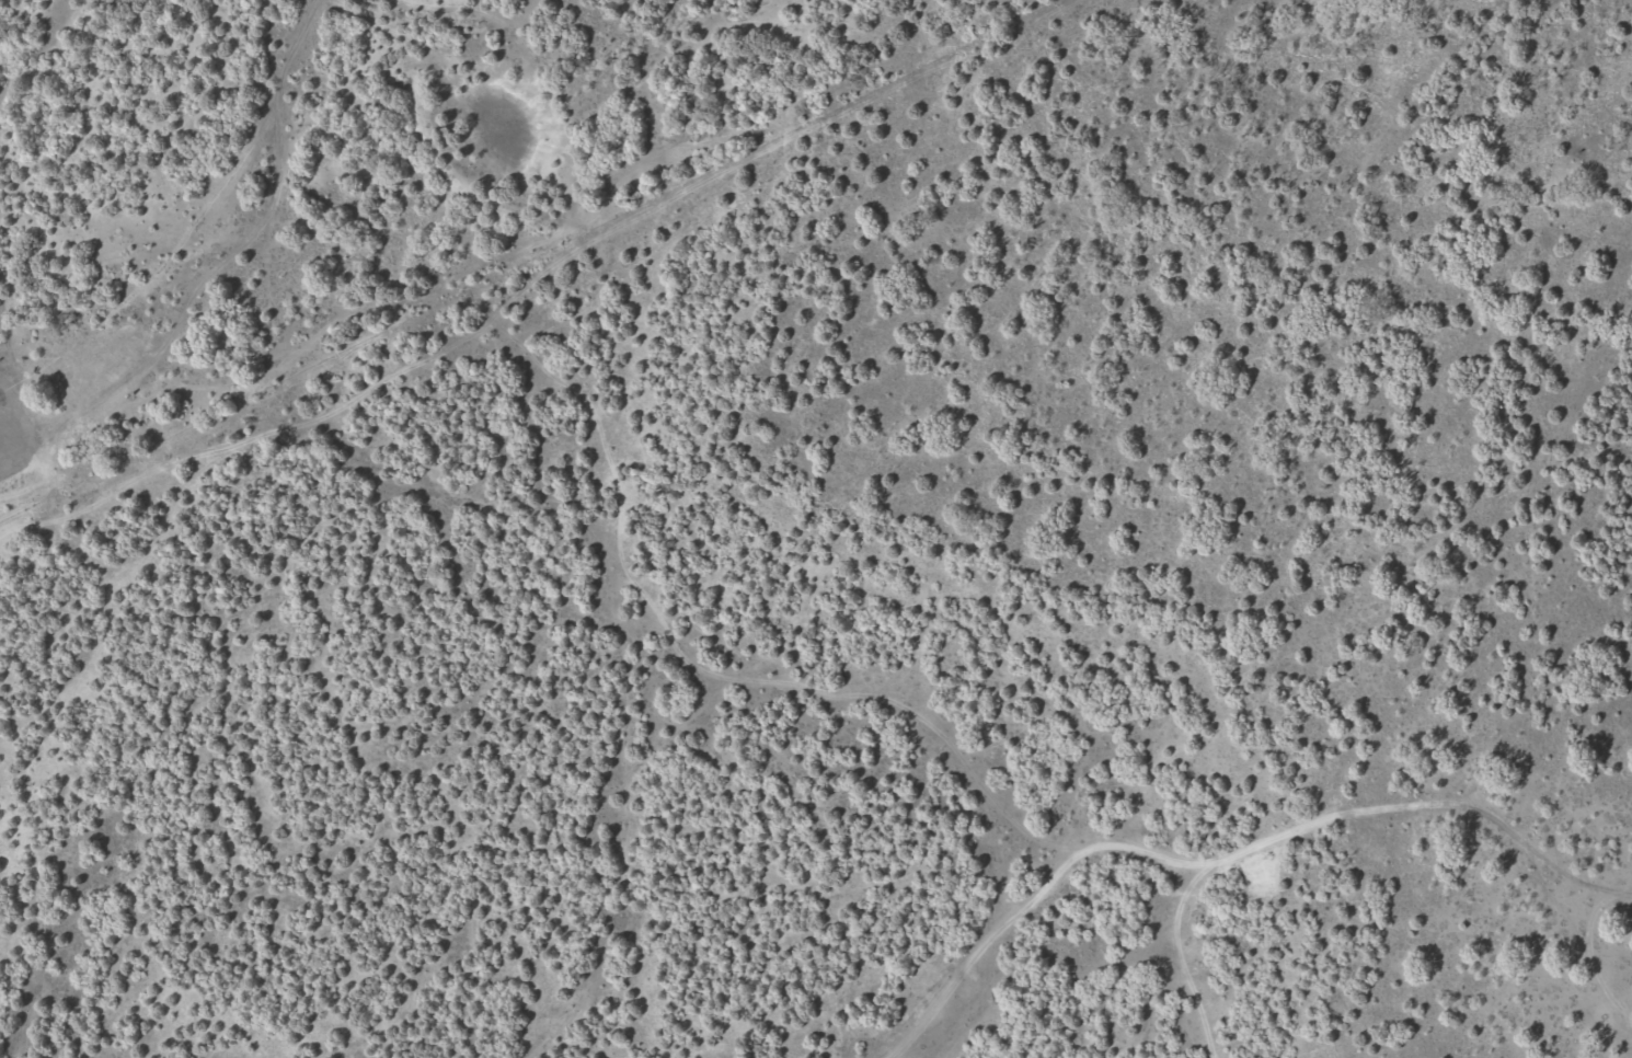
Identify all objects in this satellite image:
road: (1280, 874)

